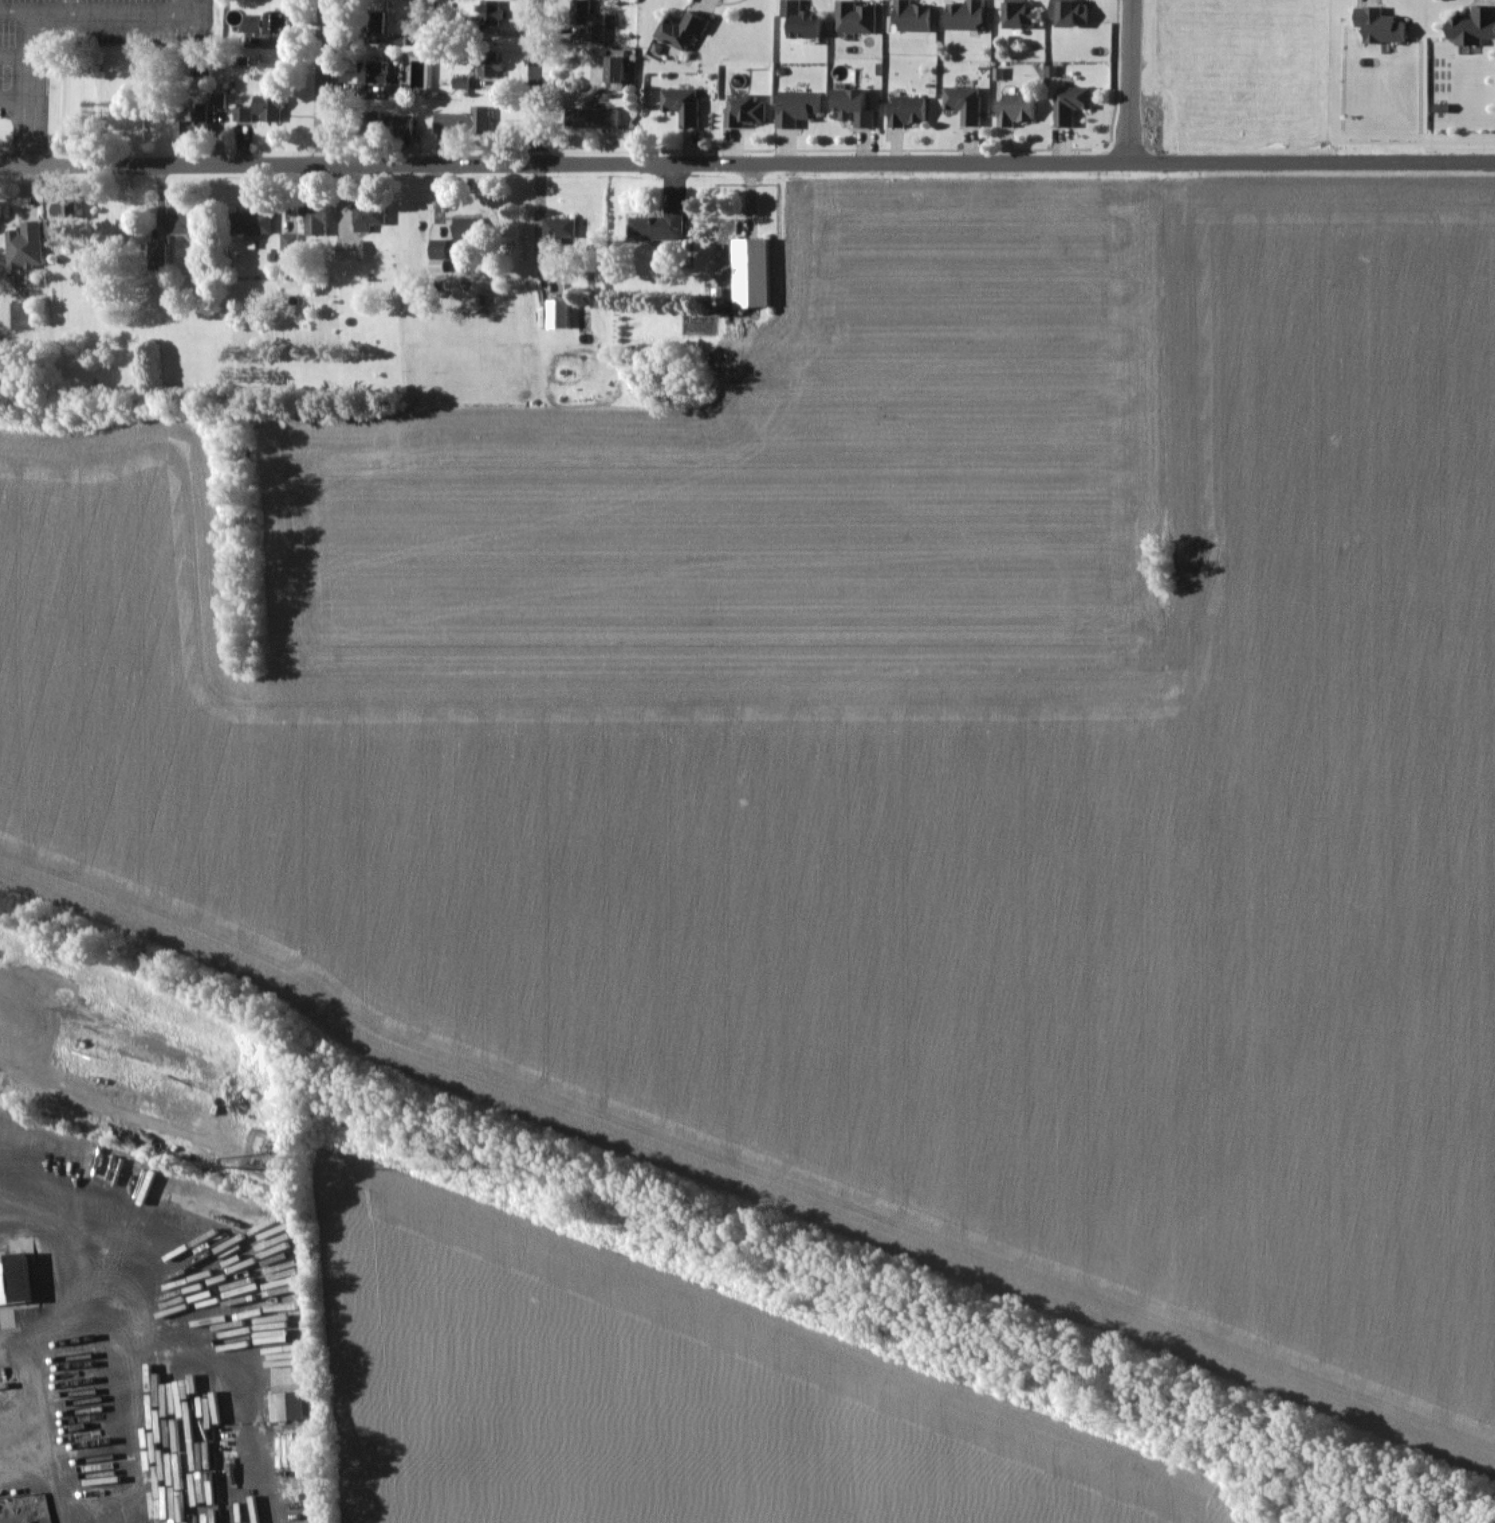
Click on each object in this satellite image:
road: (16, 6)
road: (122, 6)
building: (1075, 12)
building: (1023, 13)
building: (969, 15)
building: (860, 16)
building: (913, 16)
building: (258, 20)
building: (808, 21)
building: (1471, 26)
building: (598, 27)
road: (1134, 81)
road: (325, 82)
road: (534, 82)
road: (32, 85)
building: (1075, 103)
building: (968, 104)
building: (686, 105)
building: (859, 105)
building: (801, 106)
building: (273, 107)
building: (1022, 108)
building: (755, 110)
building: (912, 111)
building: (480, 118)
building: (199, 120)
road: (1092, 163)
road: (344, 164)
building: (320, 220)
building: (0, 222)
building: (186, 222)
building: (256, 223)
building: (29, 245)
building: (564, 314)
building: (19, 1282)
road: (27, 1350)
building: (295, 1406)

